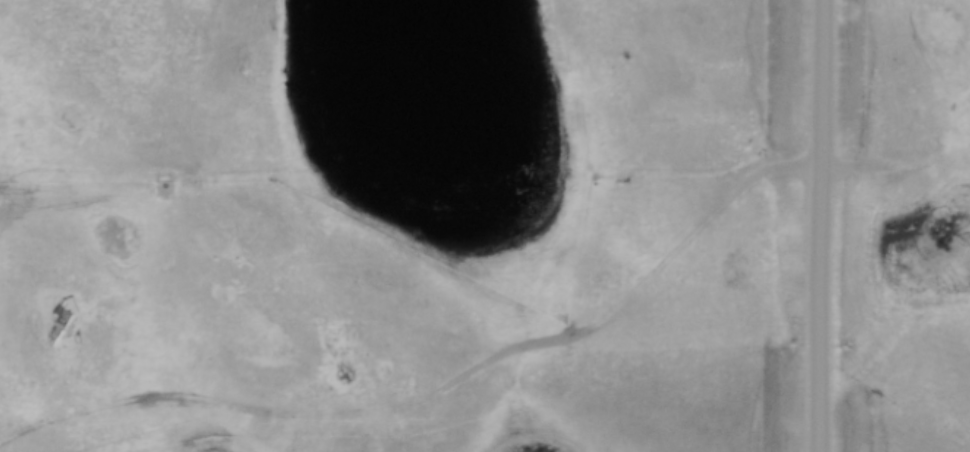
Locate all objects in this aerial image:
road: (822, 225)
road: (506, 350)

